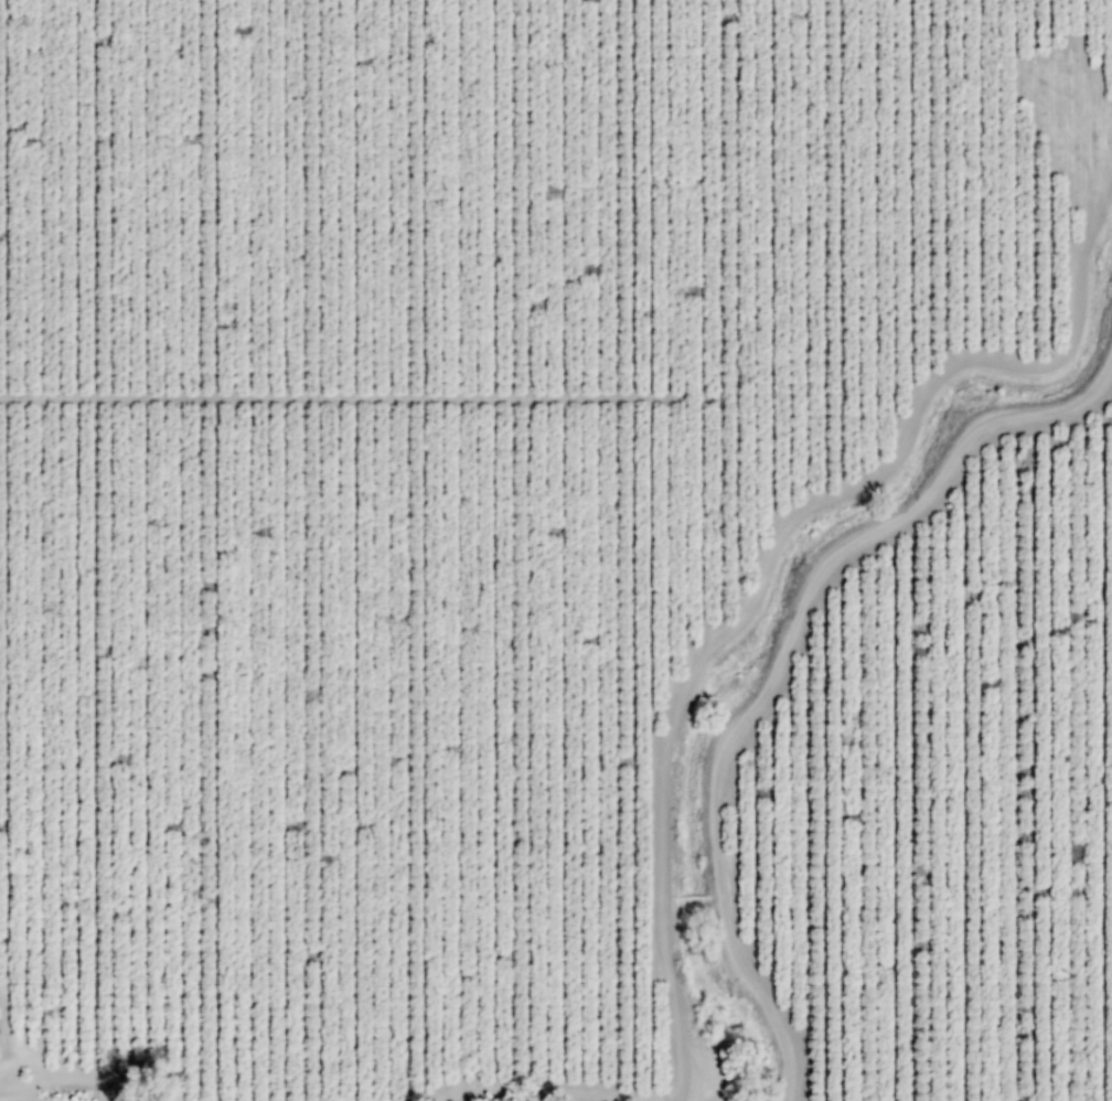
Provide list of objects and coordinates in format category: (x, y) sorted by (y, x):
road: (340, 396)
road: (1103, 396)

